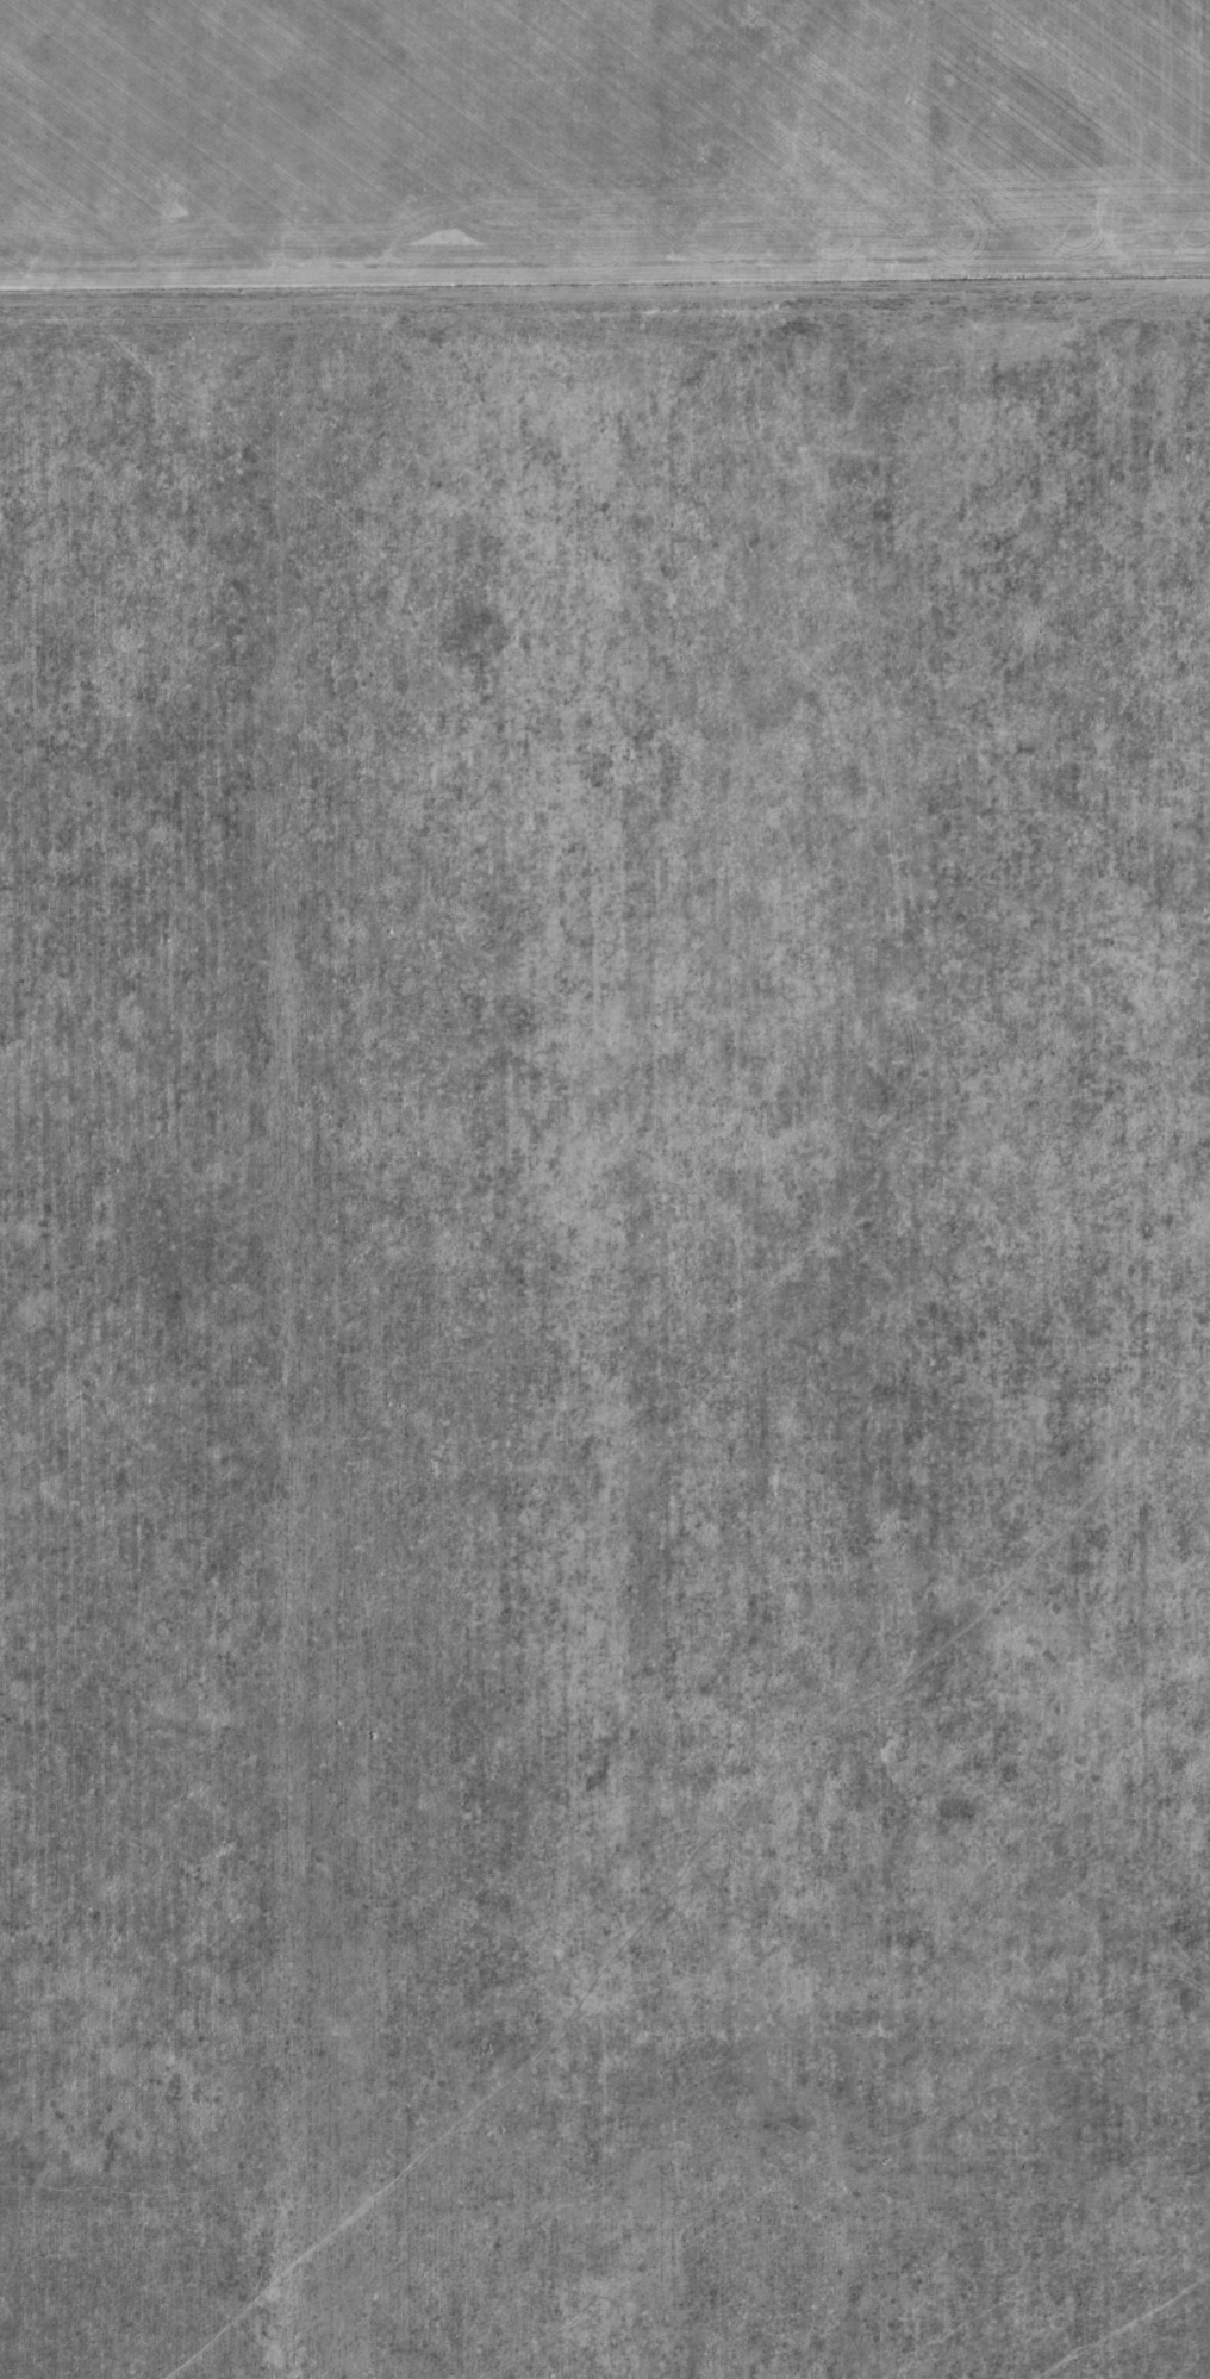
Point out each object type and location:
road: (605, 263)

